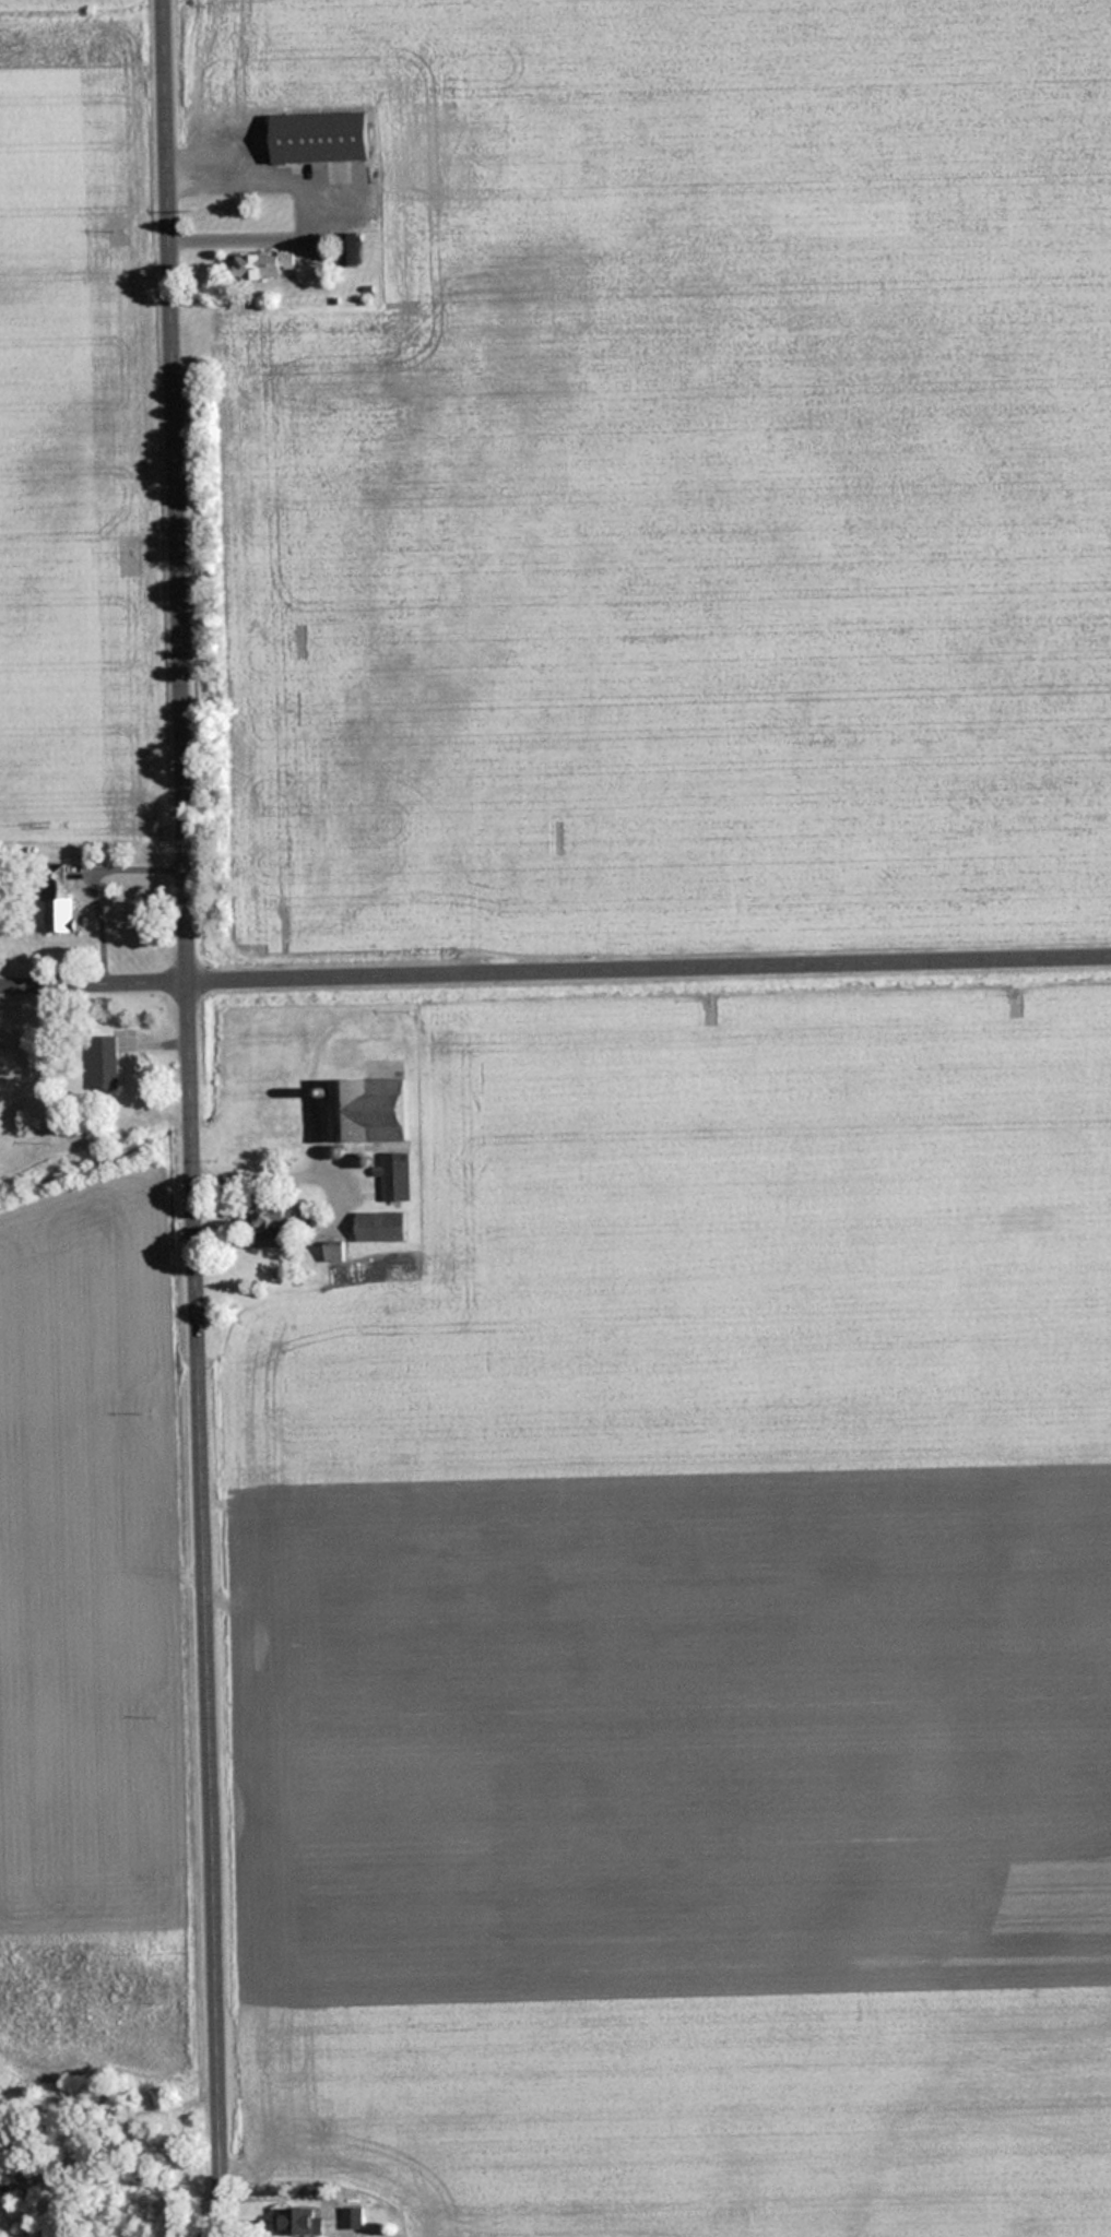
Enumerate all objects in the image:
building: (322, 135)
building: (264, 264)
building: (58, 900)
road: (555, 969)
building: (106, 1061)
building: (370, 1110)
road: (197, 1118)
building: (397, 1176)
building: (271, 1215)
building: (383, 1227)
building: (7, 2186)
building: (303, 2221)

